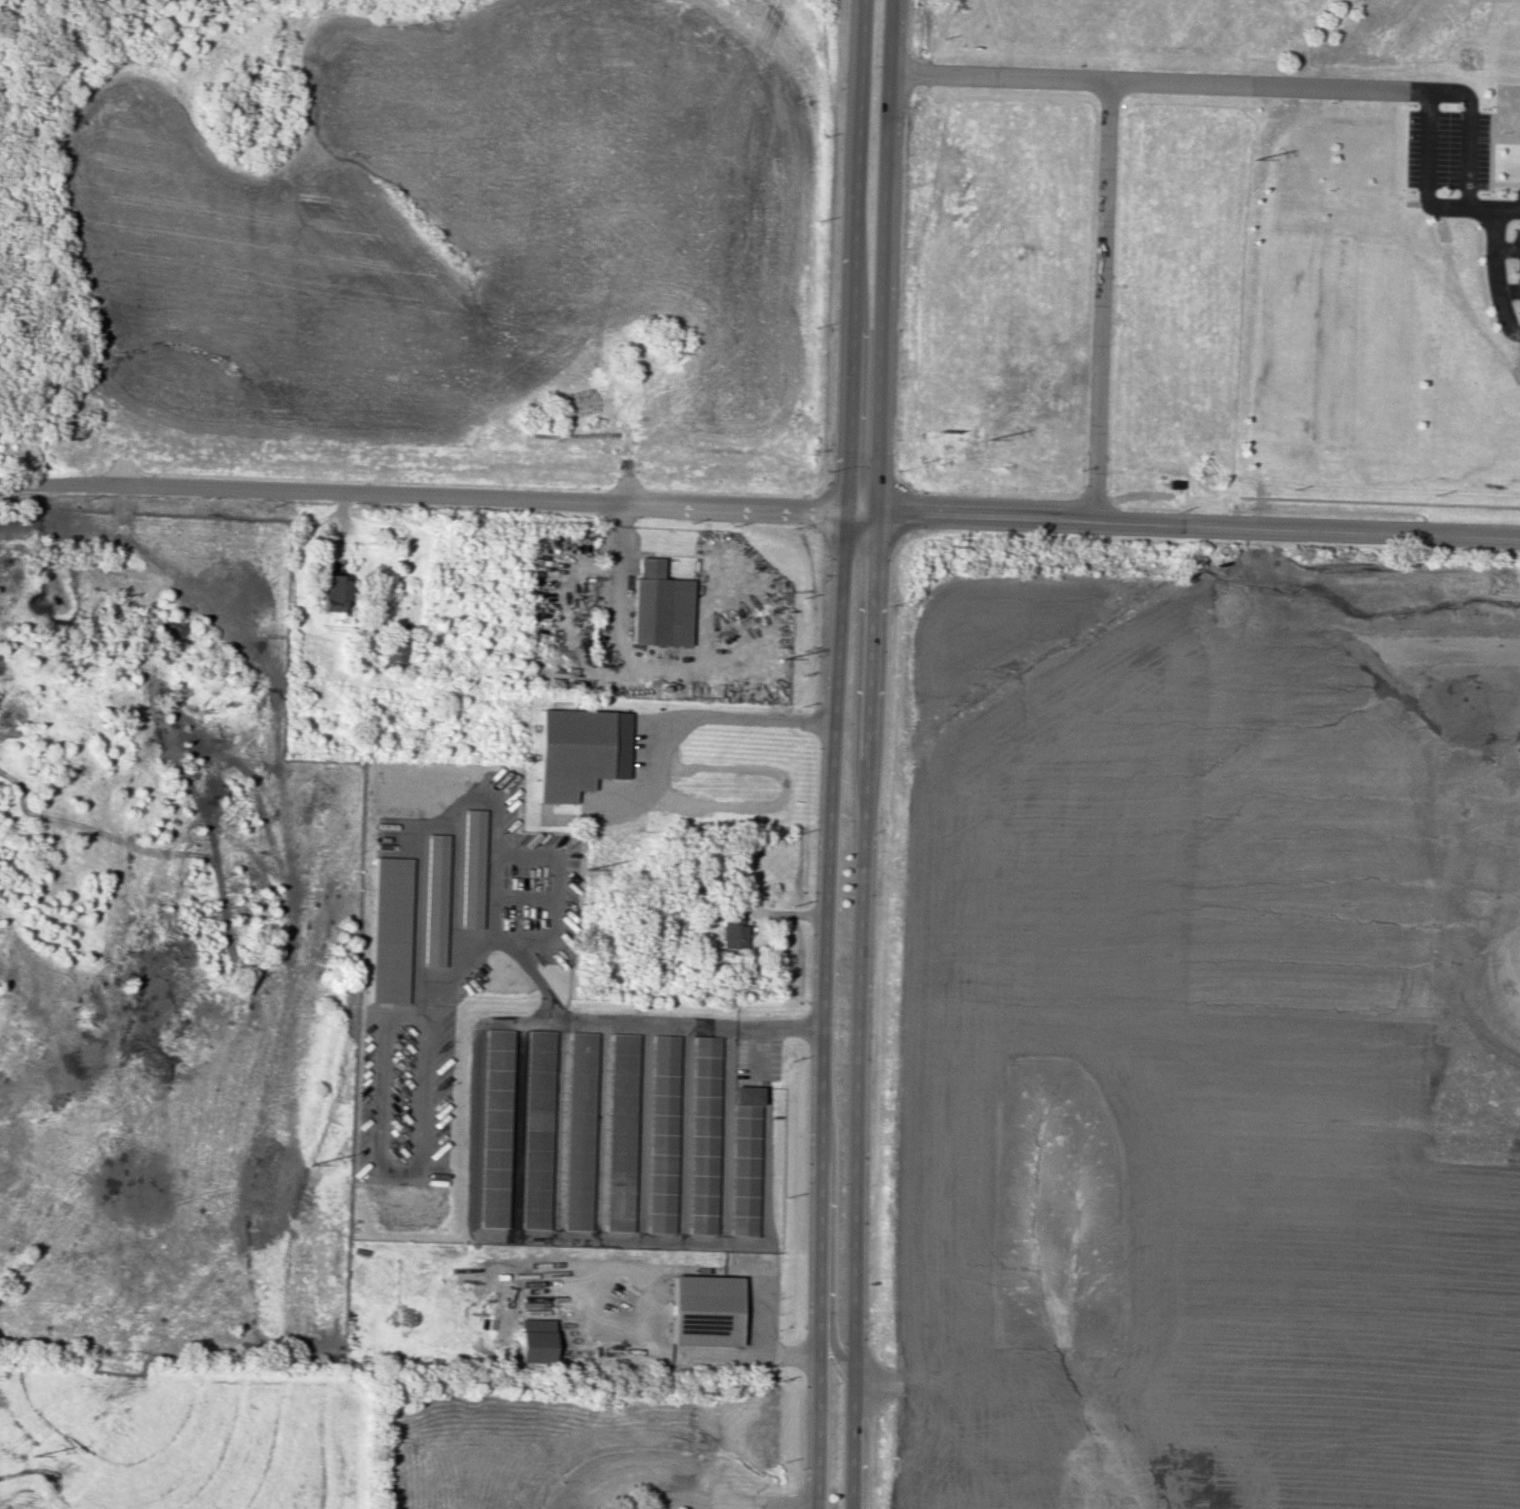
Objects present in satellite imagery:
road: (1068, 79)
road: (1365, 89)
road: (1426, 144)
parking lot: (1446, 150)
power tower: (1253, 157)
road: (1467, 160)
parking lot: (1517, 192)
road: (1453, 208)
crop: (464, 222)
road: (1505, 250)
parking lot: (1517, 253)
road: (1492, 260)
road: (1509, 291)
road: (1102, 303)
park: (1325, 340)
power tower: (986, 437)
road: (422, 503)
road: (1182, 528)
building: (335, 592)
building: (658, 607)
building: (395, 652)
power tower: (782, 656)
road: (716, 713)
building: (578, 751)
road: (836, 754)
road: (871, 754)
building: (472, 868)
power tower: (586, 870)
building: (435, 900)
building: (389, 930)
building: (732, 931)
road: (476, 1095)
building: (496, 1127)
building: (537, 1128)
building: (579, 1130)
crop: (1146, 1130)
building: (620, 1132)
building: (661, 1132)
building: (703, 1135)
building: (745, 1159)
power tower: (307, 1162)
road: (829, 1251)
building: (702, 1309)
road: (764, 1323)
building: (535, 1340)
power tower: (30, 1454)
road: (771, 1505)

